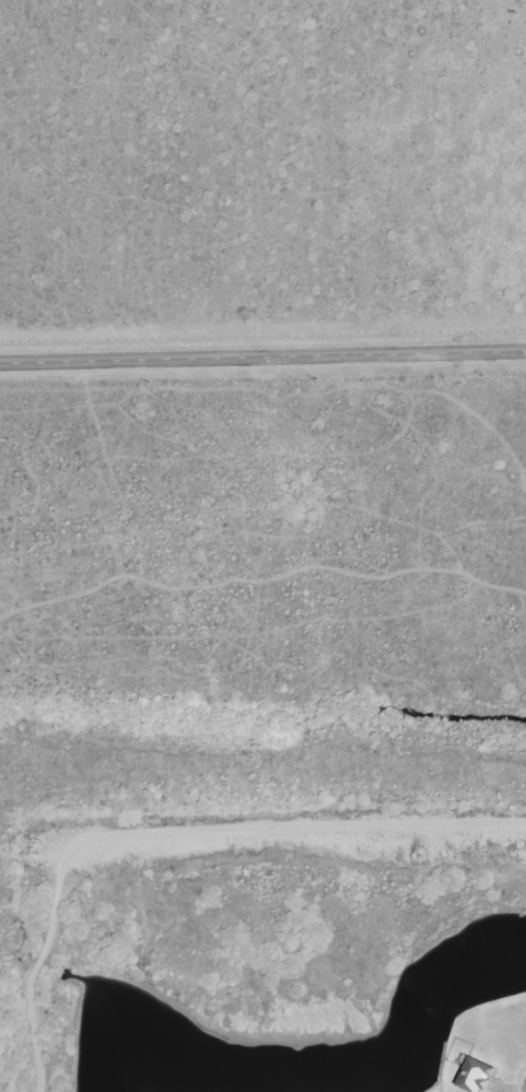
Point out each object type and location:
road: (262, 360)
road: (171, 834)
building: (479, 1076)

